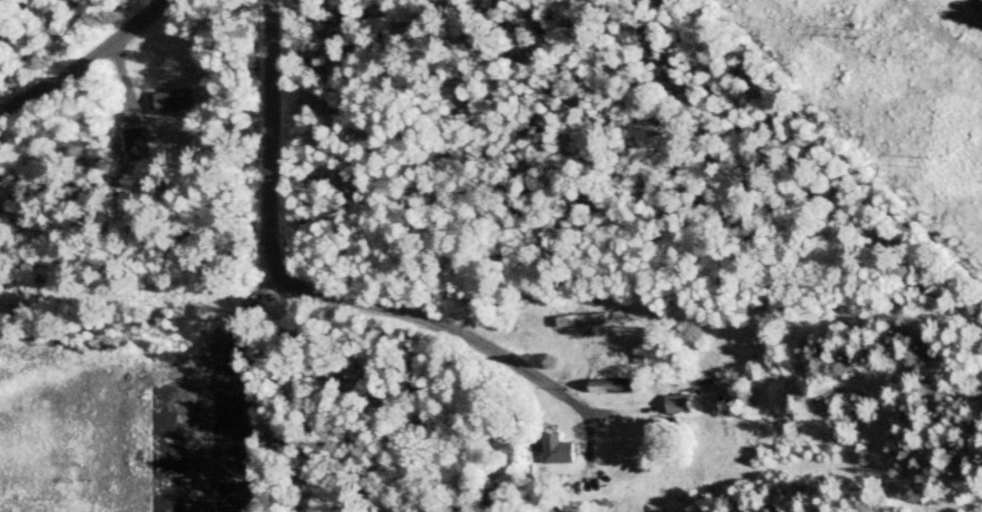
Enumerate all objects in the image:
road: (87, 57)
building: (167, 100)
road: (316, 281)
building: (598, 388)
building: (676, 404)
building: (557, 450)

